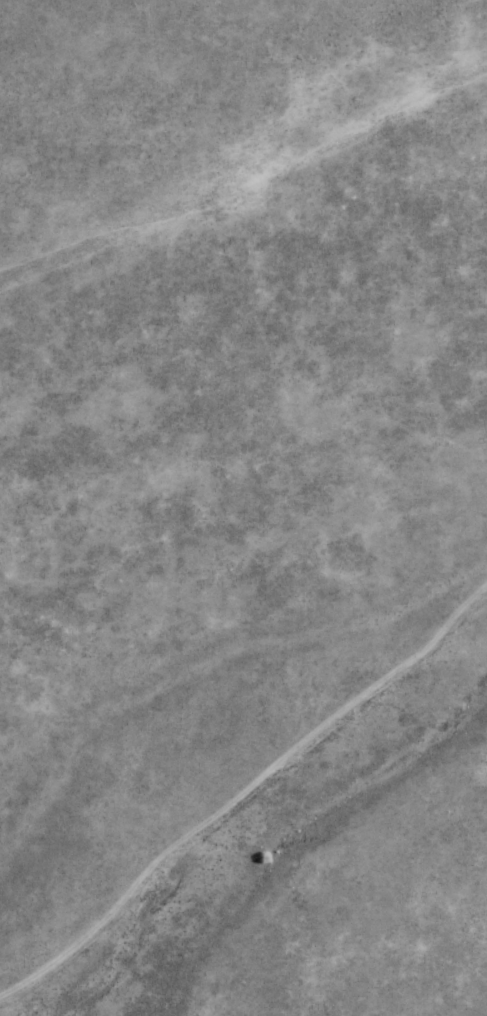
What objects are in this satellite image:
road: (251, 759)

